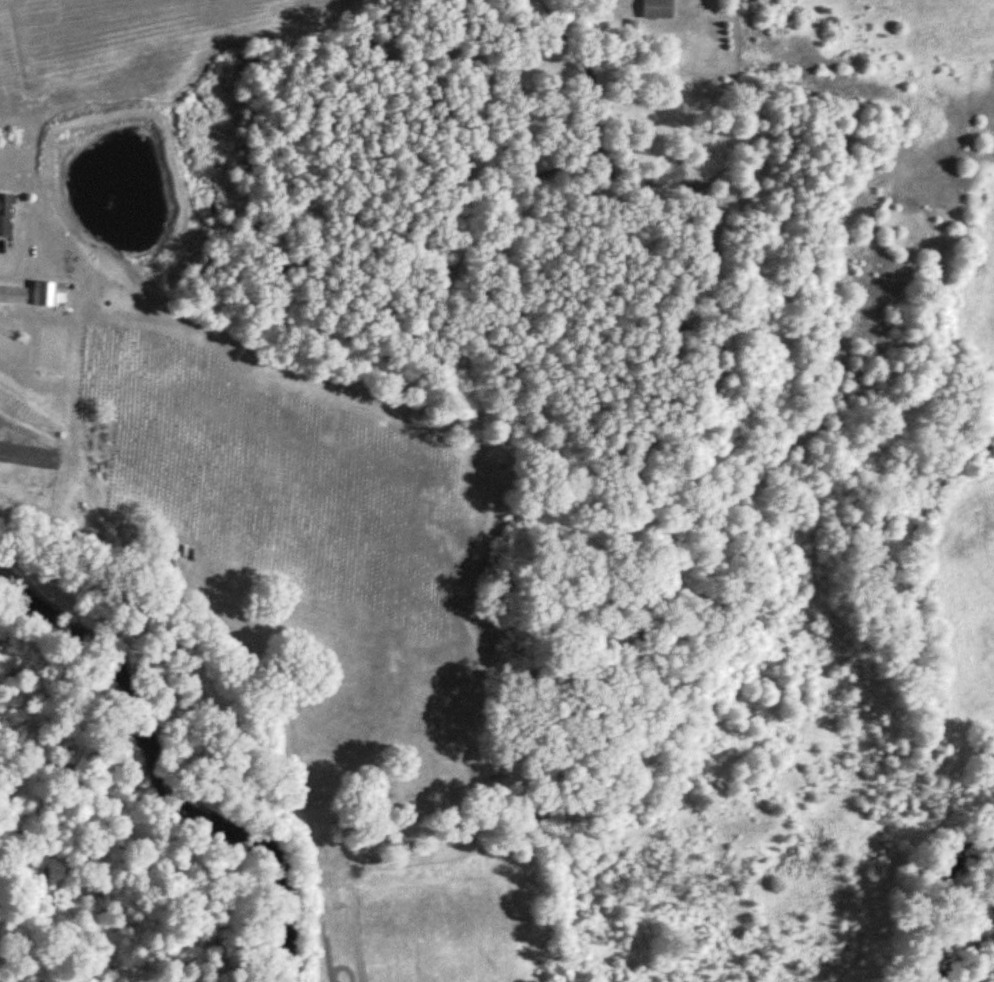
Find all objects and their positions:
building: (656, 9)
building: (4, 216)
road: (6, 273)
building: (46, 294)
building: (13, 296)
river: (162, 775)
river: (933, 896)

